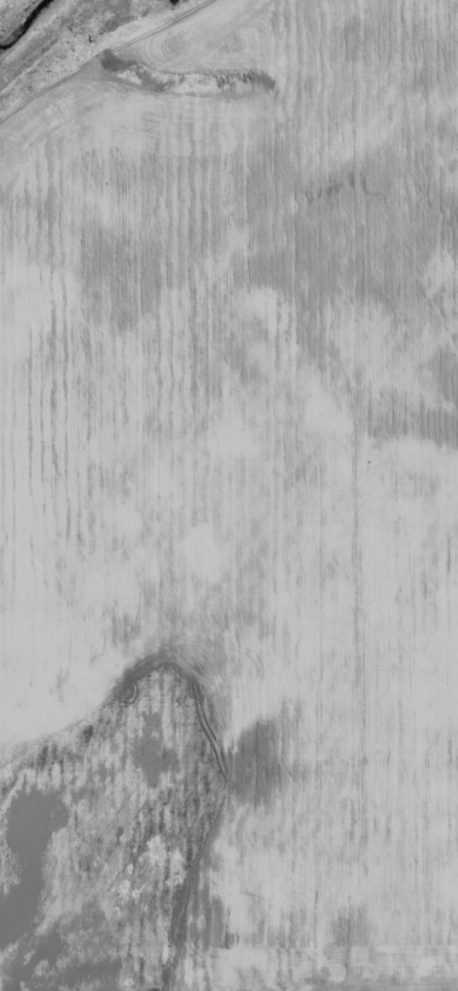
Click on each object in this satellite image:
river: (33, 27)

